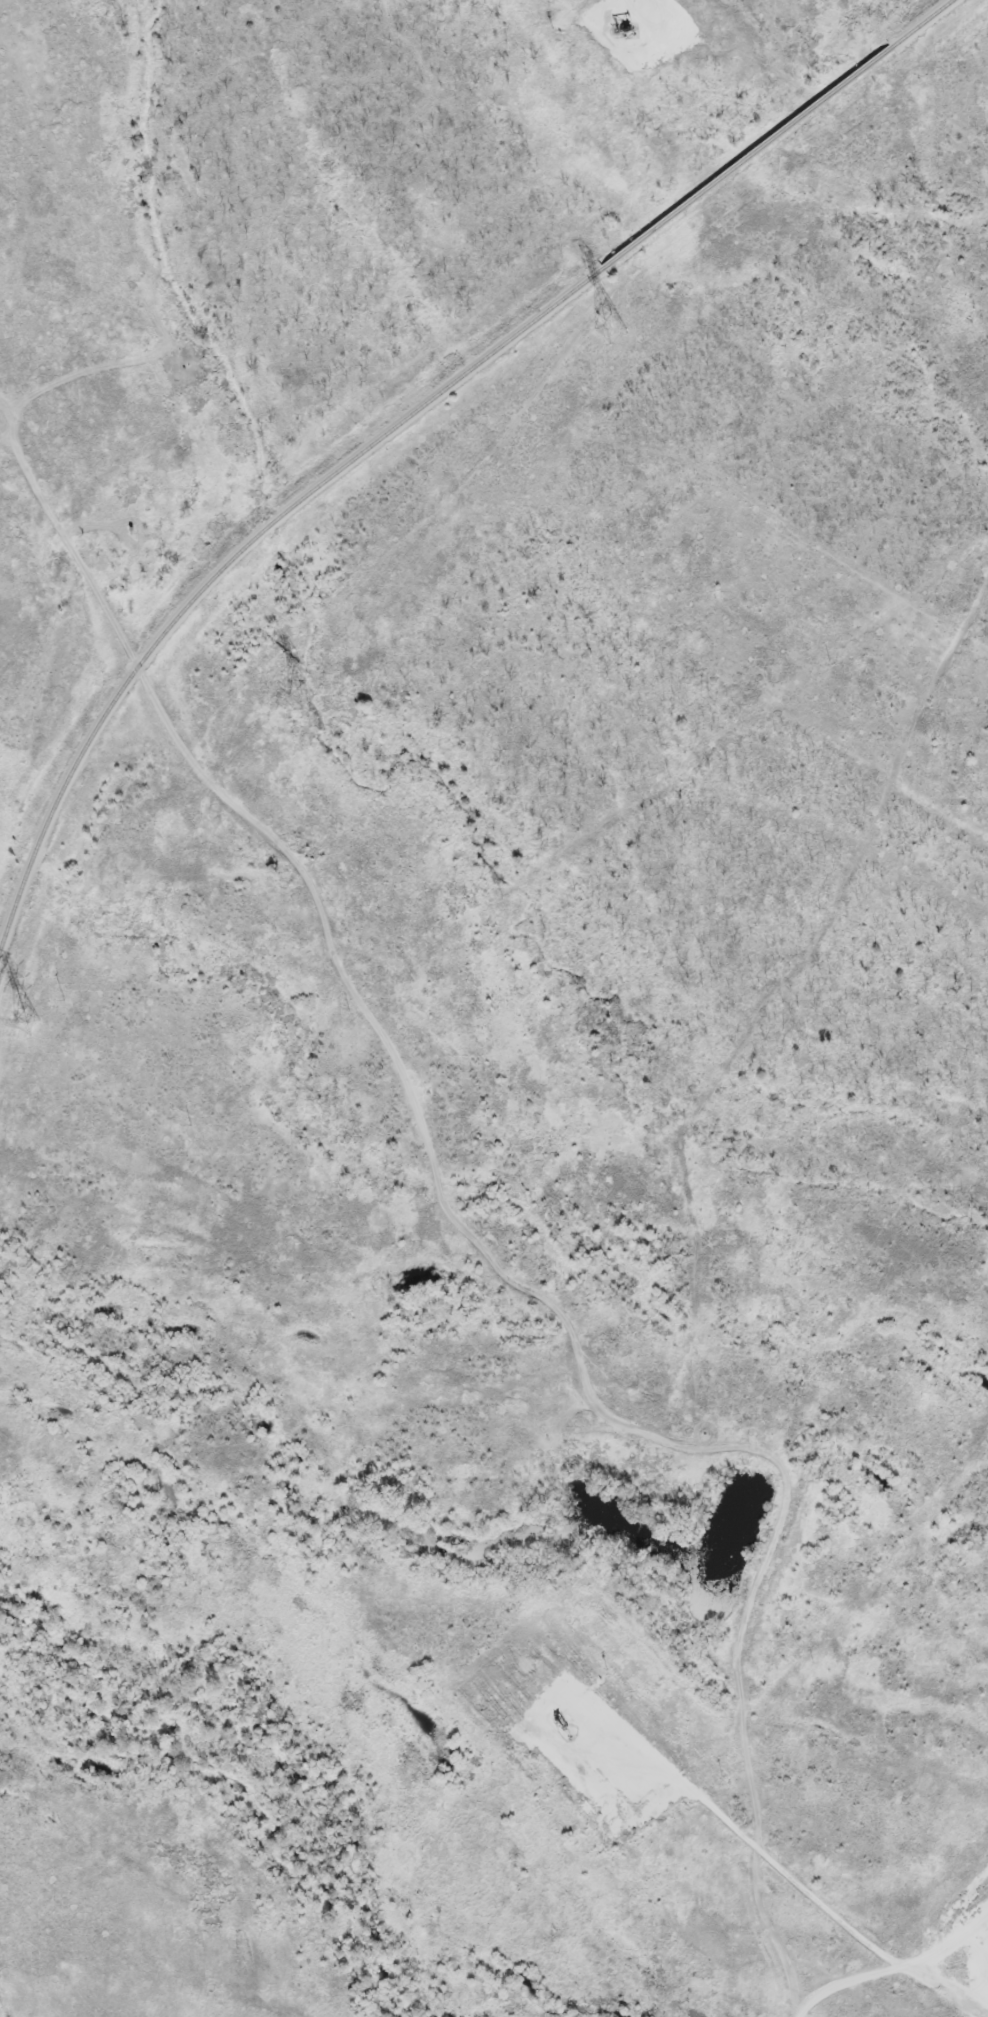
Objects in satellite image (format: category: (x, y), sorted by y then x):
railway: (922, 25)
railway: (747, 158)
power tower: (610, 331)
railway: (234, 557)
power tower: (300, 699)
power tower: (27, 1024)
road: (808, 1896)

